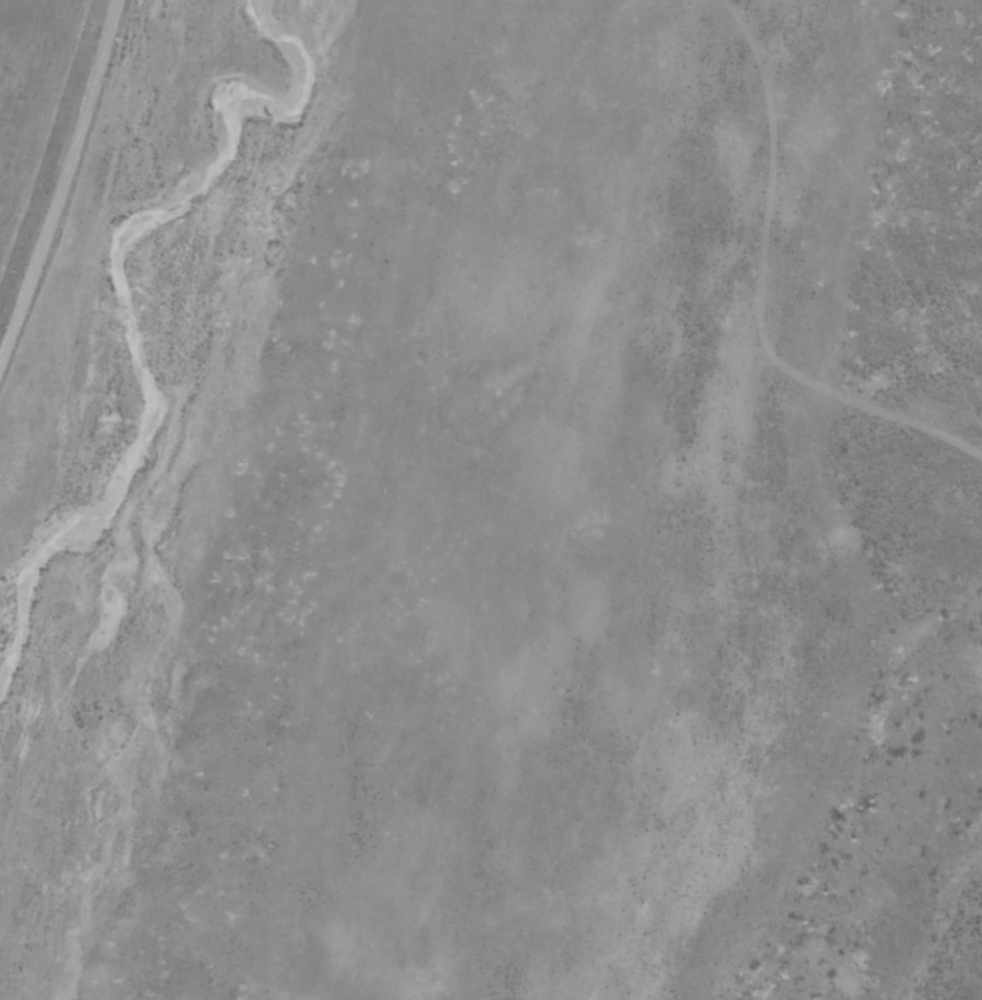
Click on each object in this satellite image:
road: (50, 167)

